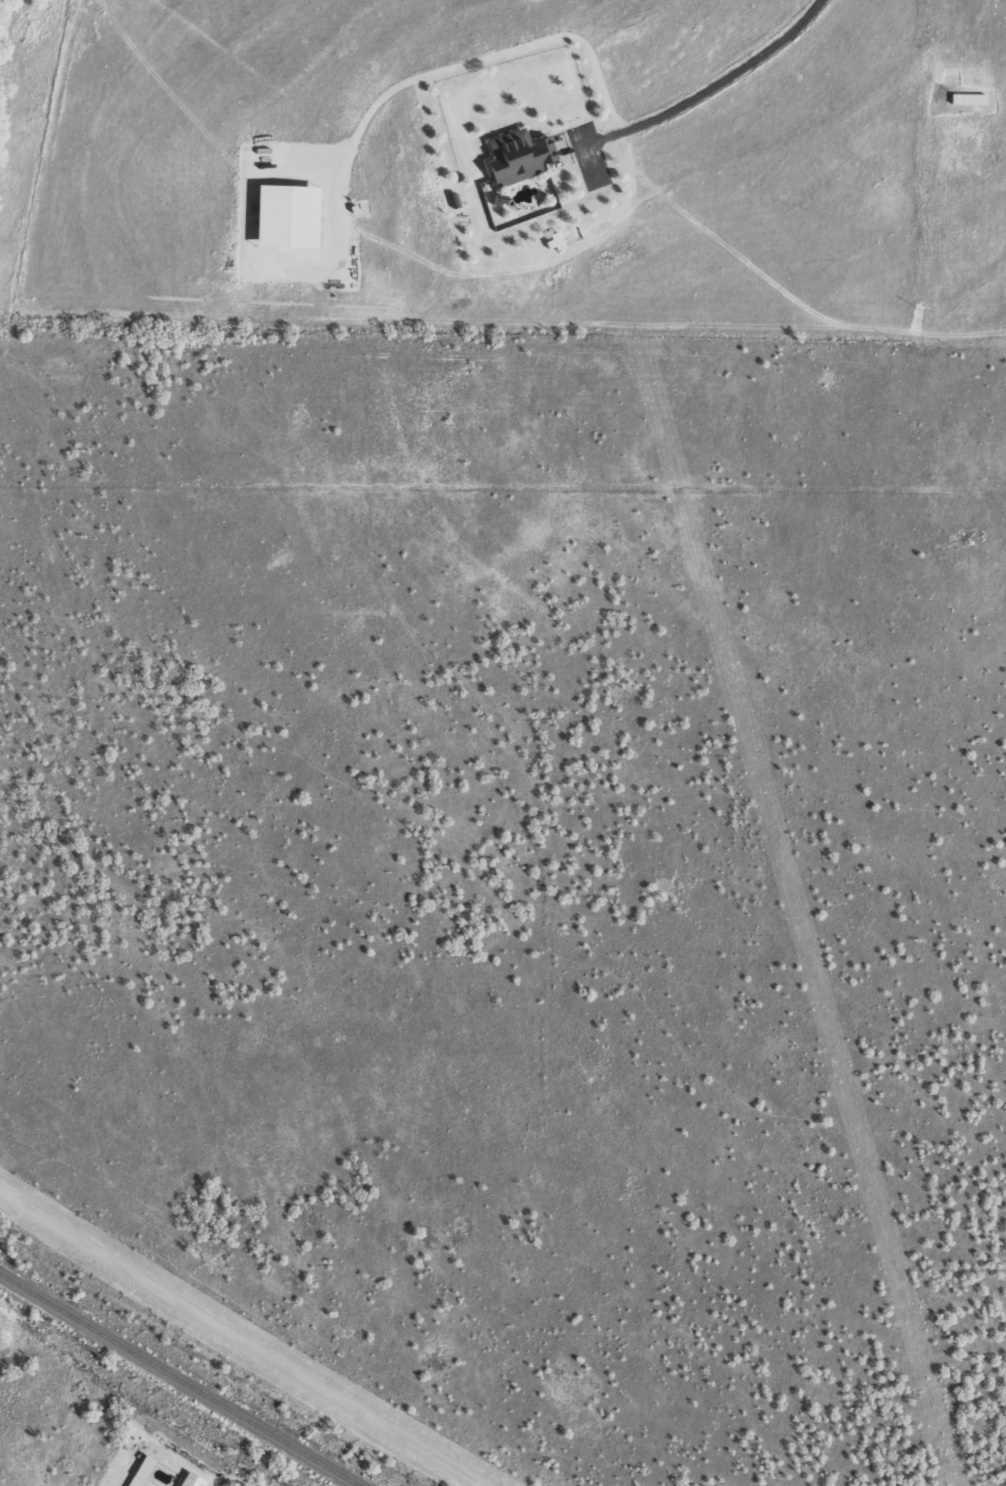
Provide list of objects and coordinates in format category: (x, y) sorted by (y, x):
road: (714, 90)
building: (973, 99)
building: (523, 158)
road: (345, 175)
building: (293, 217)
road: (243, 1337)
railway: (177, 1381)
building: (145, 1471)
building: (195, 1480)

